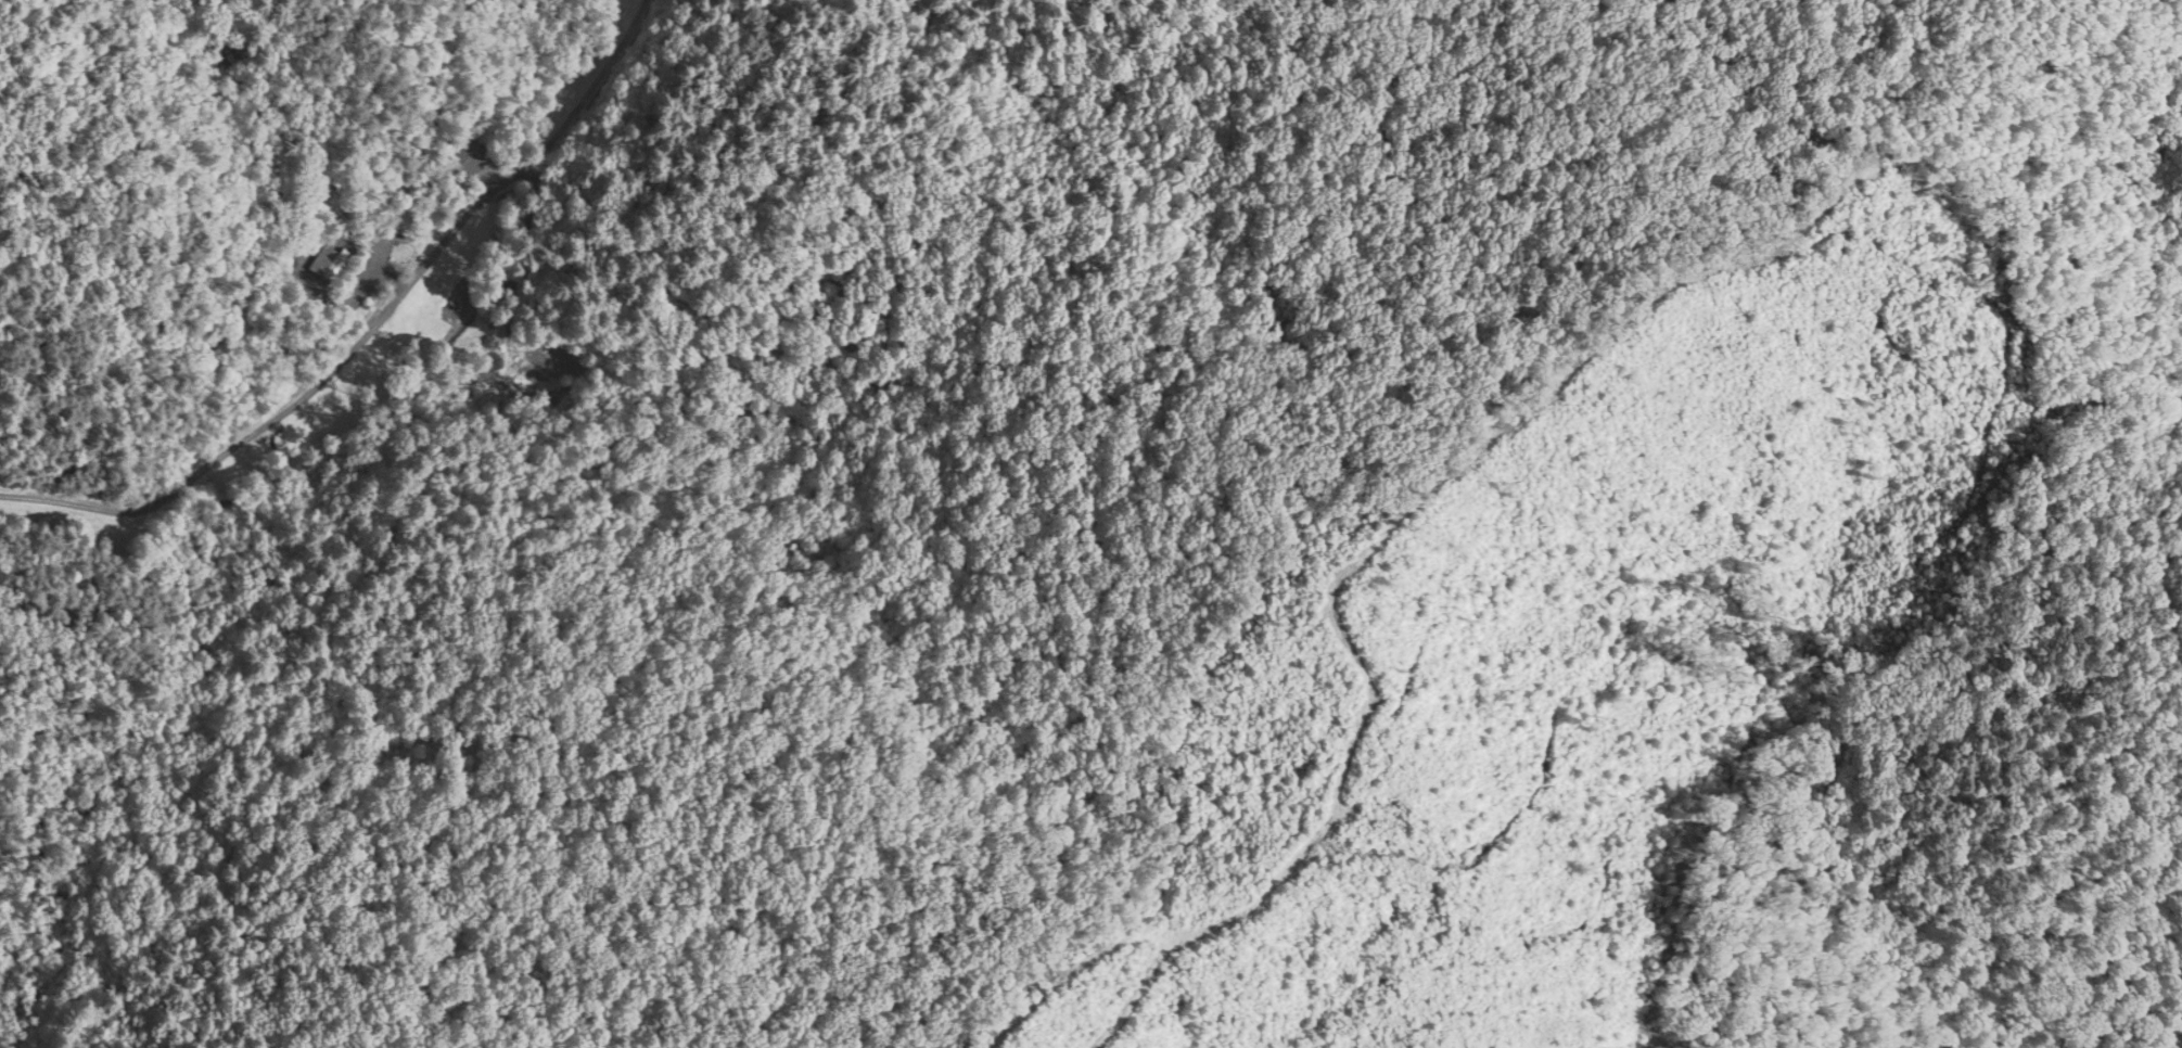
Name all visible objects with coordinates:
building: (465, 158)
building: (324, 265)
park: (2073, 533)

